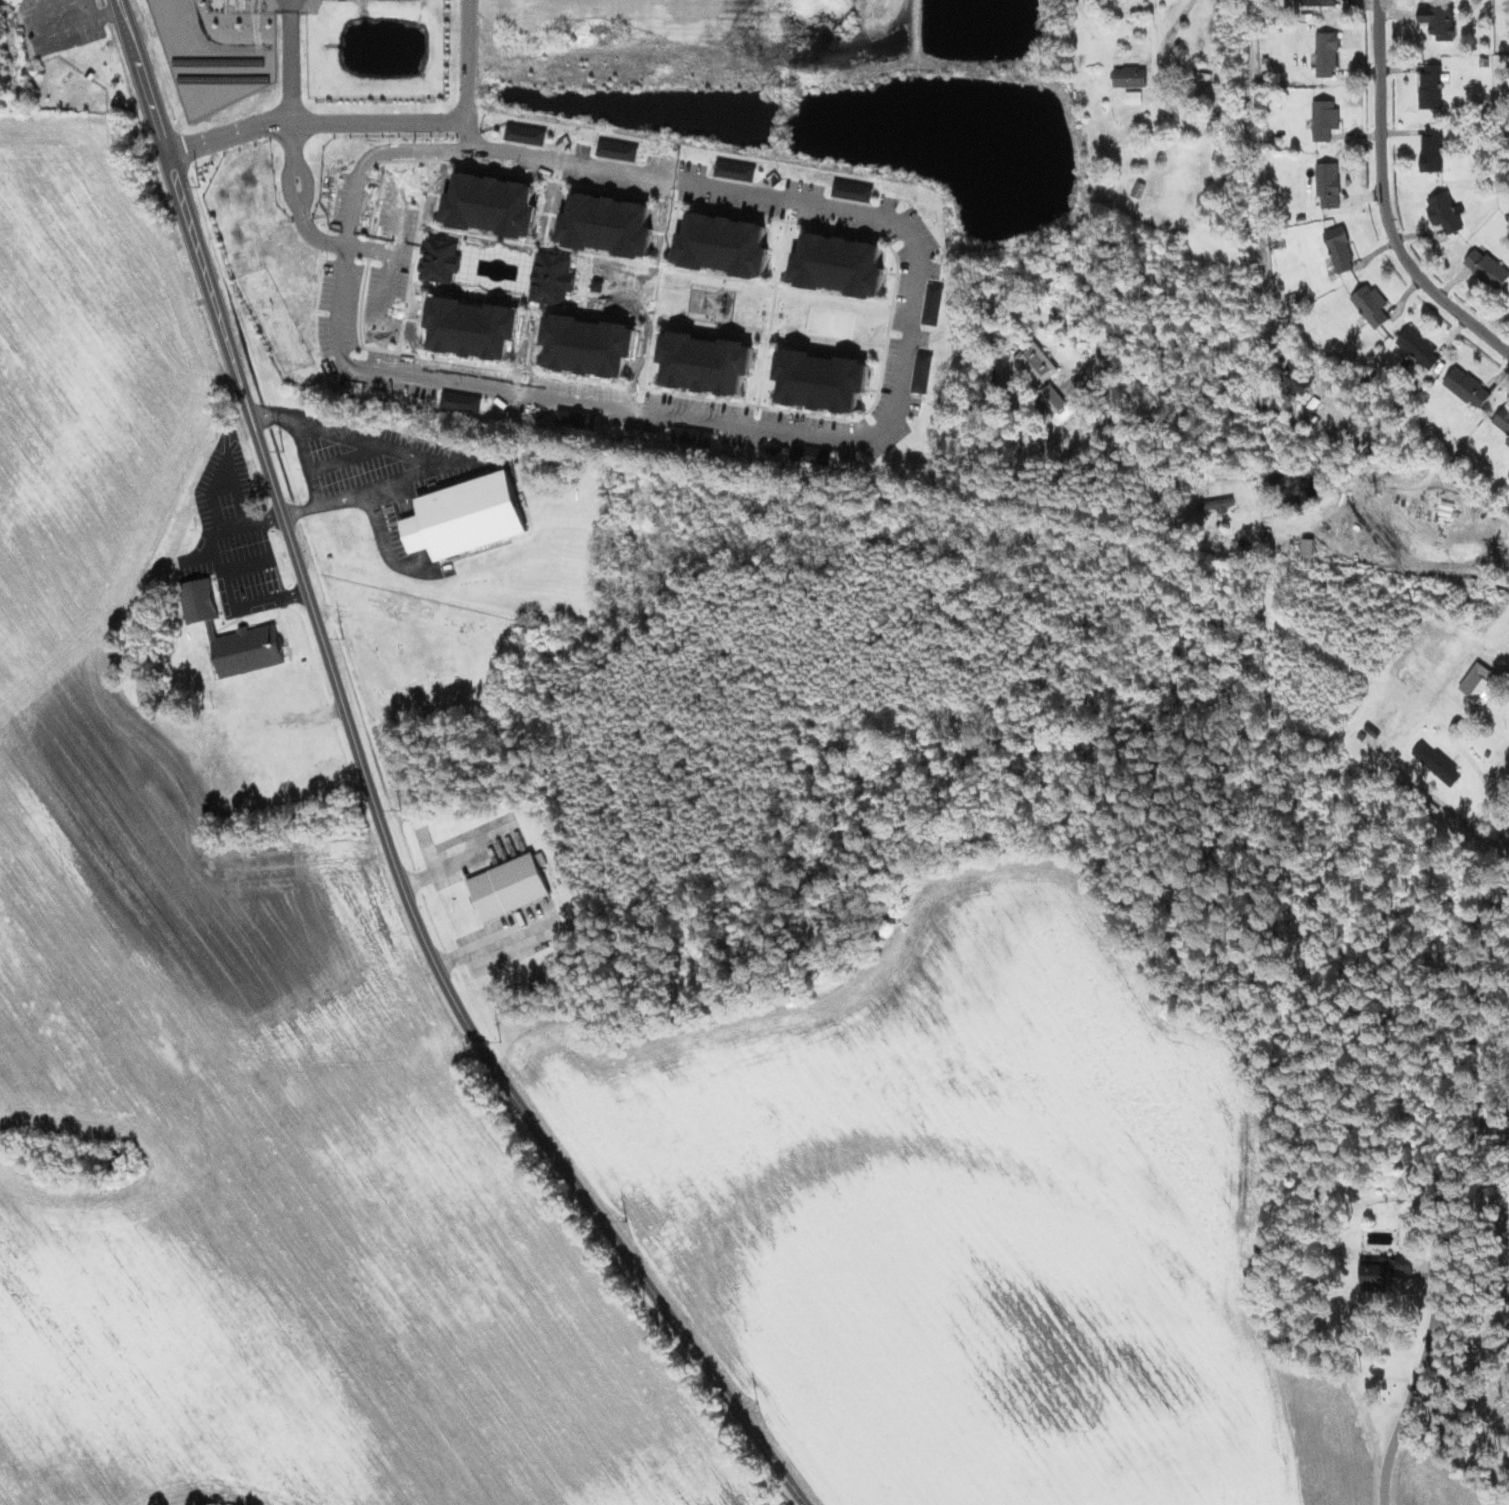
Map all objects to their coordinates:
building: (1319, 2)
building: (1439, 21)
road: (1171, 34)
building: (1326, 54)
road: (288, 60)
road: (467, 61)
building: (1130, 77)
building: (1431, 89)
building: (1324, 119)
road: (315, 120)
road: (469, 126)
building: (525, 134)
road: (292, 145)
building: (617, 150)
building: (1432, 150)
building: (735, 170)
road: (304, 184)
building: (1328, 184)
road: (292, 185)
building: (853, 191)
road: (1383, 198)
building: (491, 205)
building: (1445, 212)
building: (607, 225)
road: (314, 234)
road: (397, 235)
building: (723, 245)
building: (1339, 248)
building: (441, 260)
building: (839, 265)
building: (1487, 268)
building: (553, 278)
road: (388, 296)
road: (1163, 300)
building: (933, 304)
building: (1371, 305)
building: (472, 327)
road: (1293, 341)
building: (589, 345)
building: (1419, 348)
building: (705, 363)
building: (921, 372)
building: (1040, 374)
building: (821, 380)
building: (1298, 381)
building: (1467, 387)
building: (462, 401)
building: (576, 419)
building: (1502, 419)
road: (780, 428)
building: (693, 437)
building: (1507, 442)
building: (811, 455)
building: (1215, 505)
building: (466, 516)
building: (1308, 546)
building: (232, 634)
building: (1478, 681)
building: (1382, 727)
building: (1437, 763)
road: (374, 796)
building: (508, 887)
building: (1404, 1263)
road: (1405, 1410)

